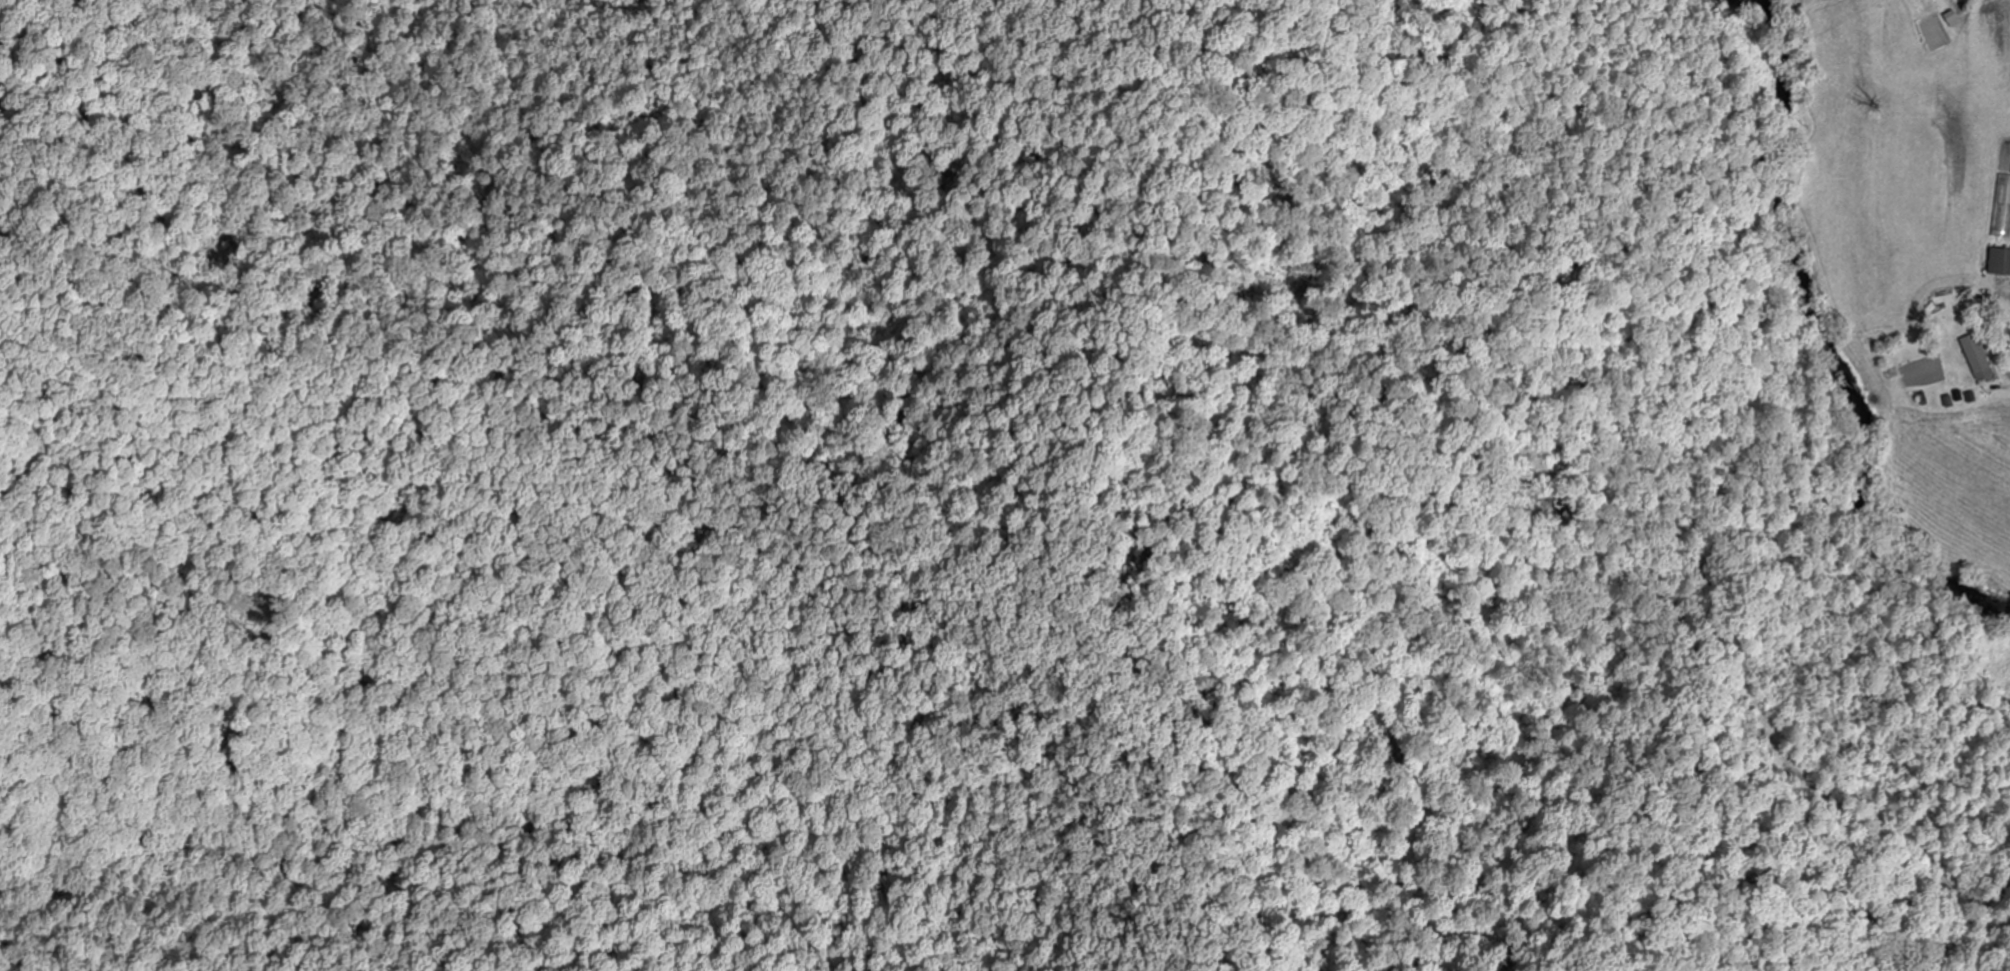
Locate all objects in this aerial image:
building: (1998, 262)
building: (1974, 357)

